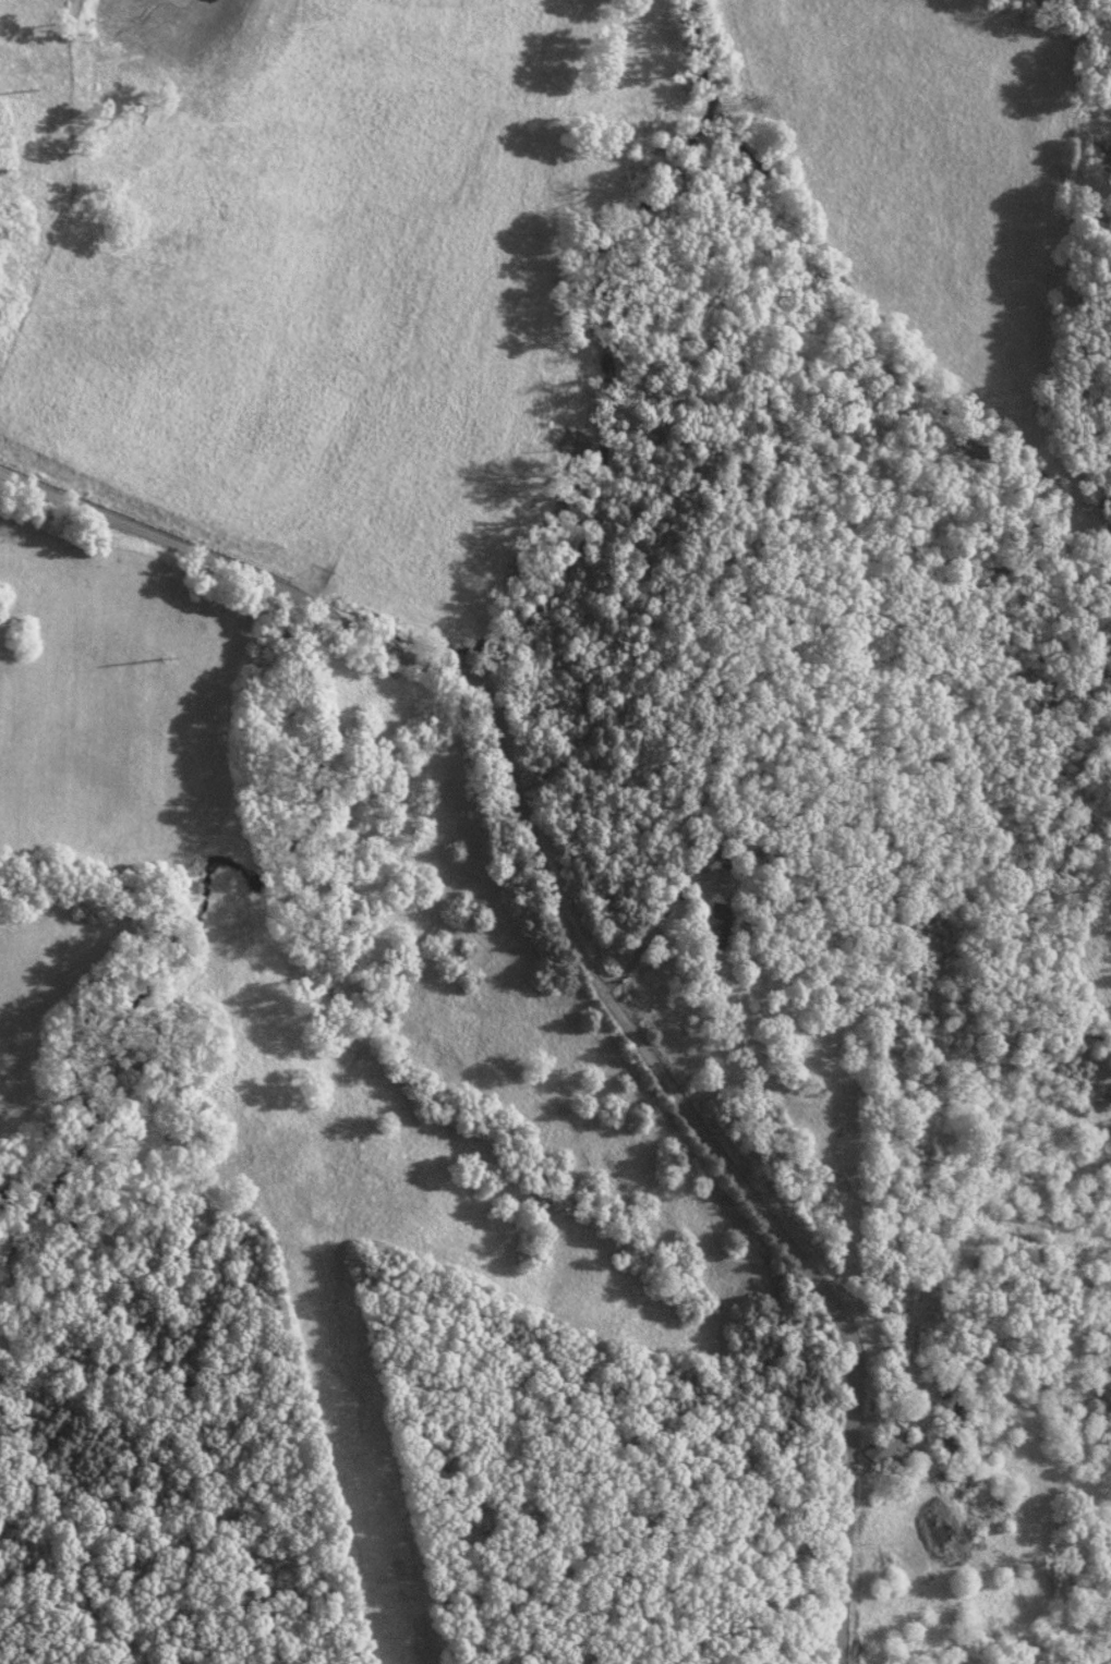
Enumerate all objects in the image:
power tower: (19, 90)
power tower: (158, 660)
road: (657, 918)
building: (715, 925)
road: (576, 952)
building: (952, 1424)
building: (882, 1443)
power tower: (345, 1456)

